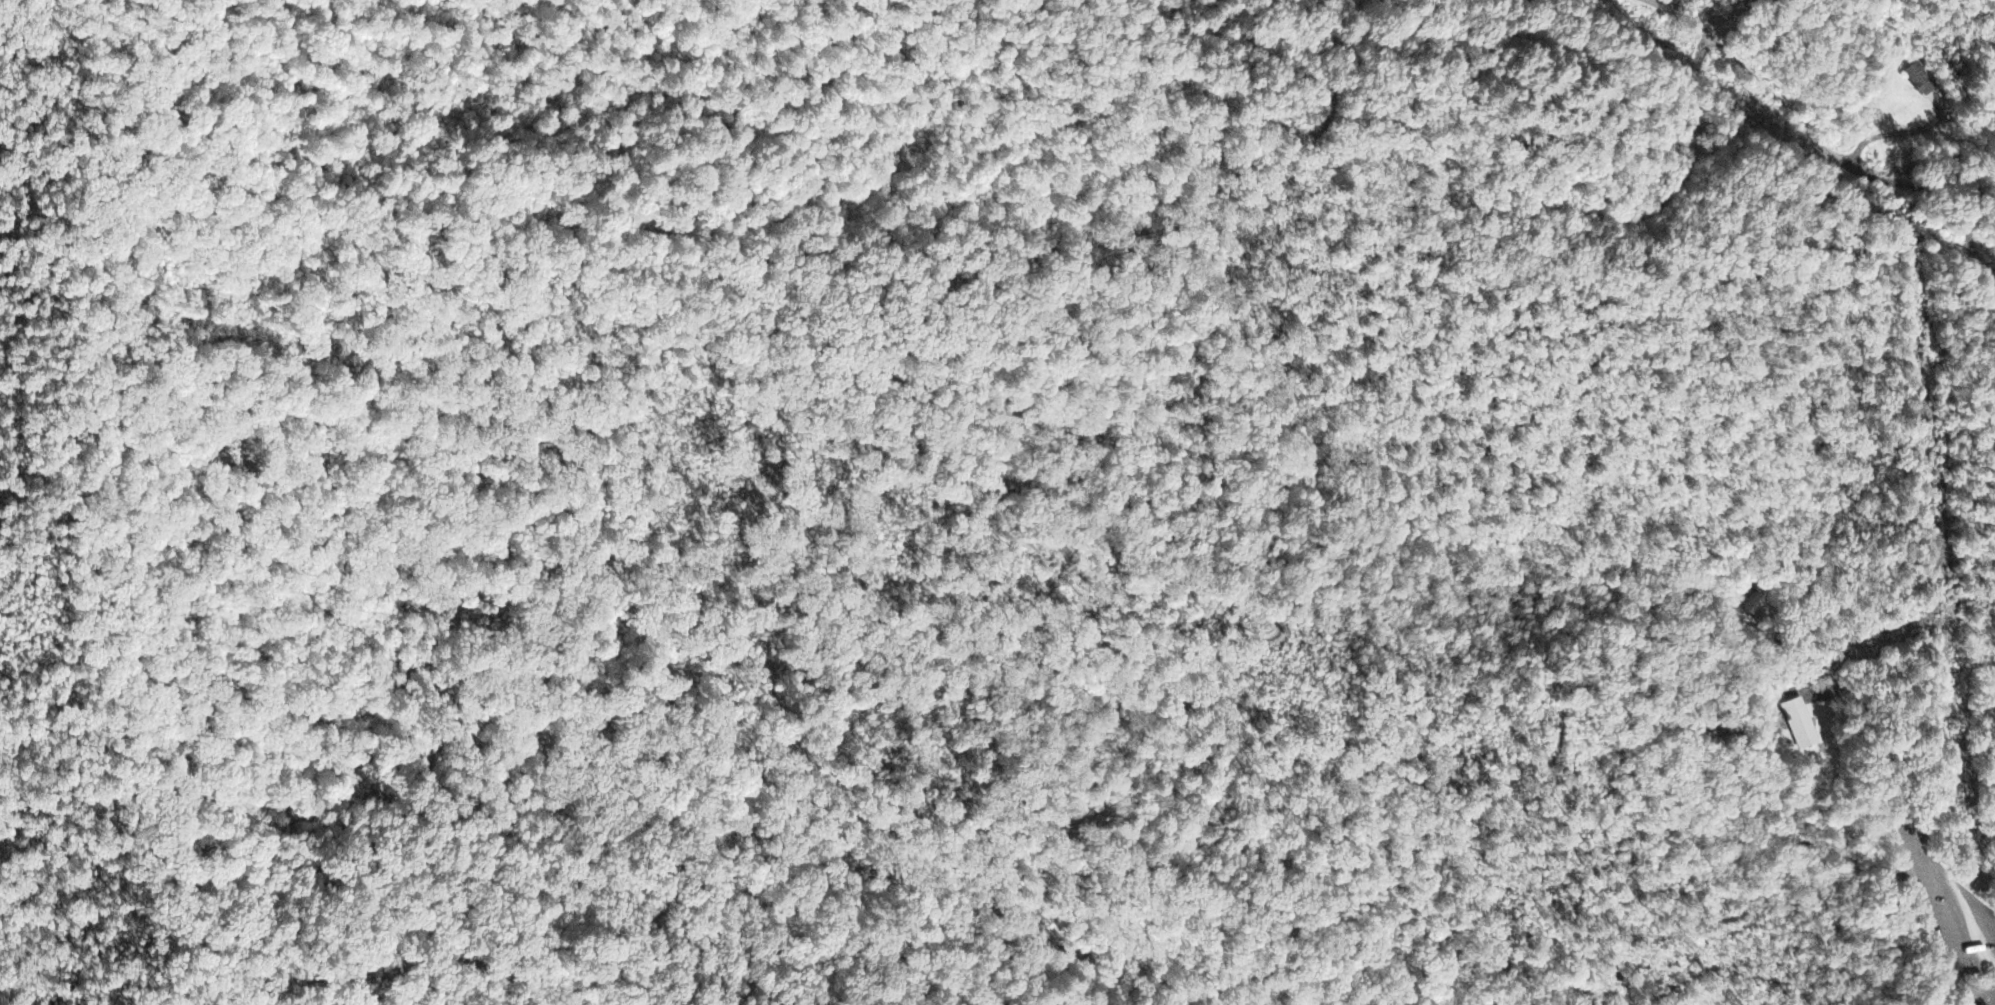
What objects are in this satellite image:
building: (1922, 80)
road: (1621, 220)
road: (1160, 589)
road: (555, 682)
road: (354, 692)
building: (1800, 725)
road: (1311, 775)
road: (1275, 813)
road: (1891, 854)
road: (68, 867)
road: (1882, 901)
parking lot: (1948, 906)
road: (1168, 924)
road: (723, 944)
road: (848, 944)
road: (1727, 978)
road: (566, 992)
parking lot: (1984, 992)

